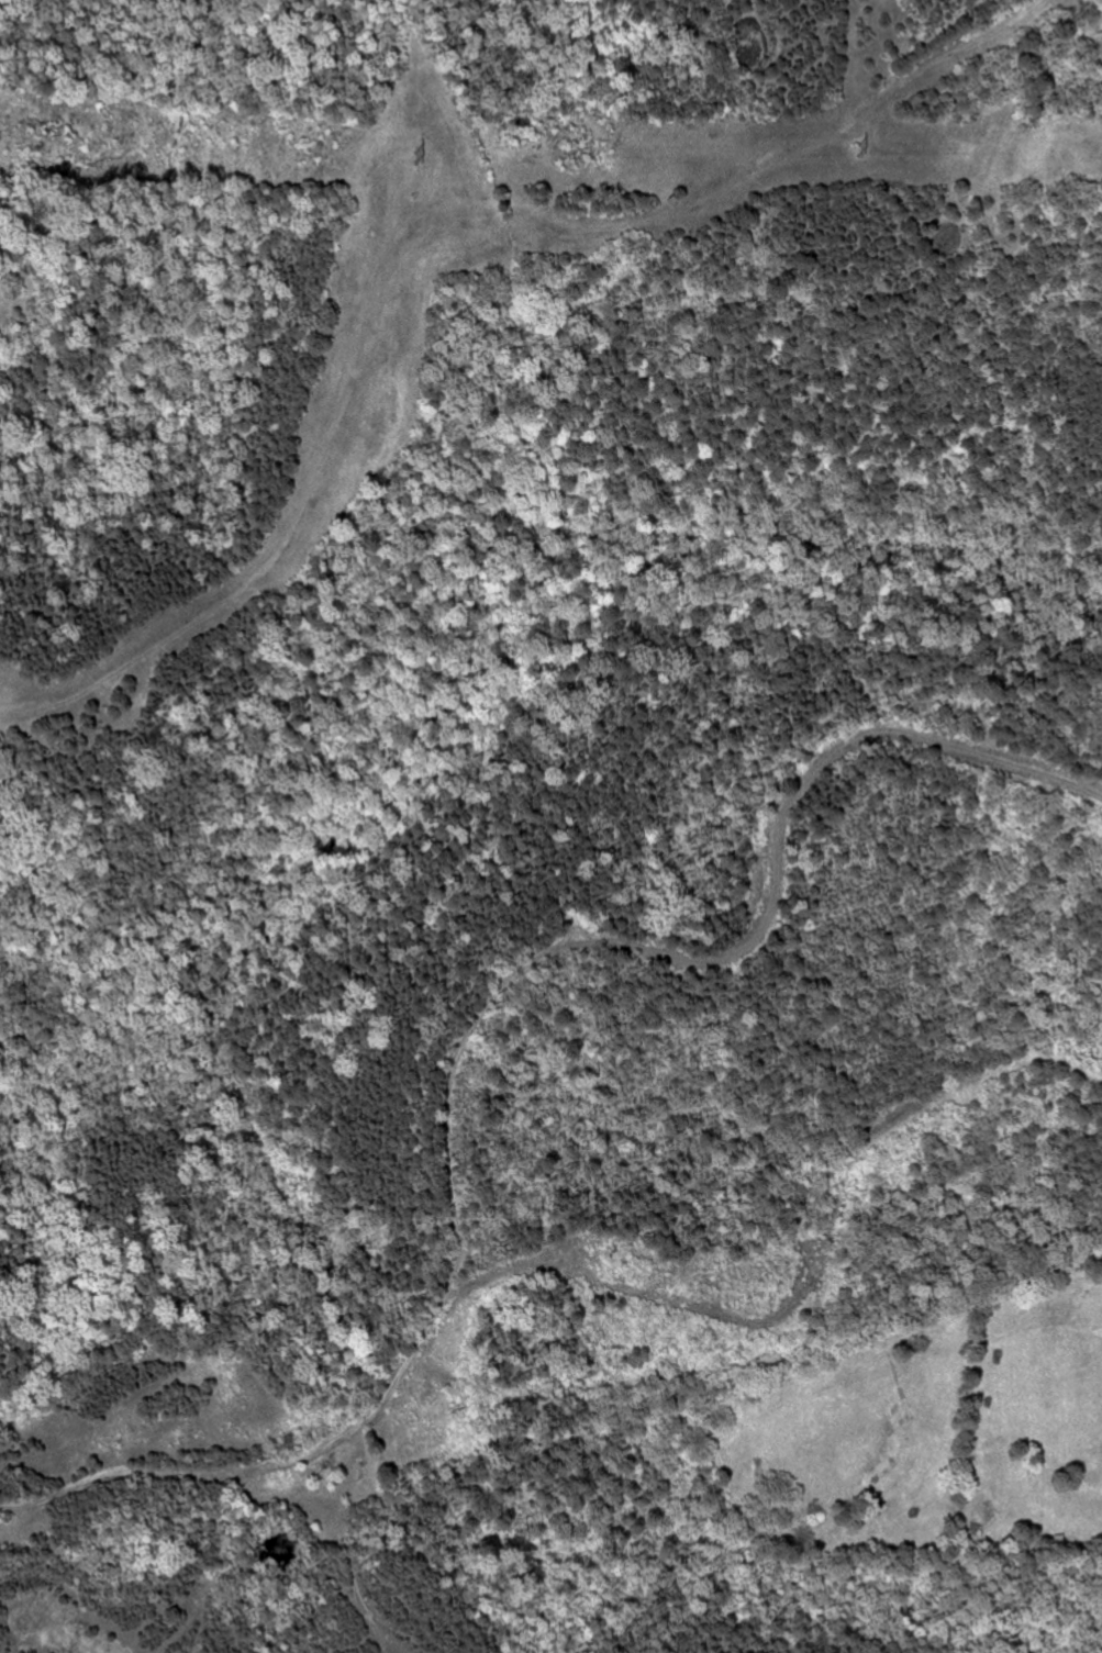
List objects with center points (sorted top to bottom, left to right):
power tower: (862, 149)
power tower: (419, 159)
road: (492, 1080)

